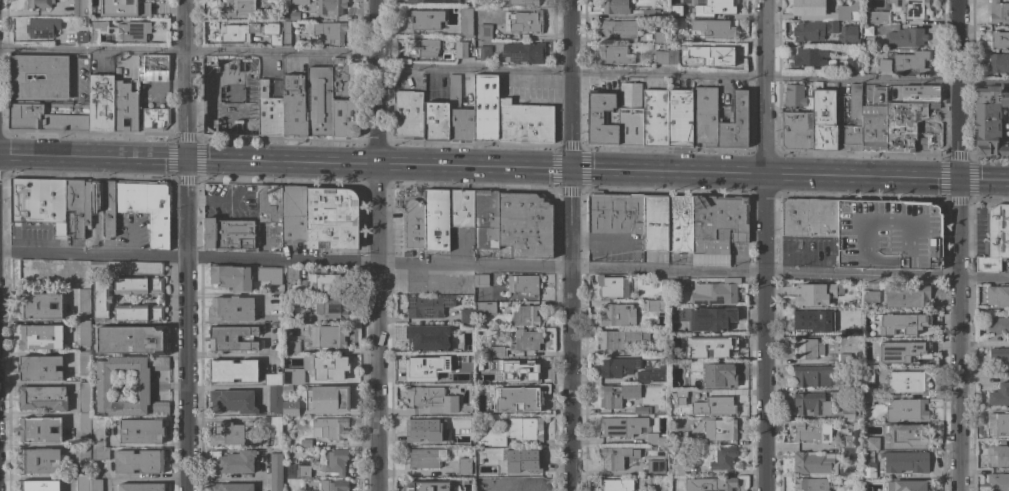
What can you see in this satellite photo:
building: (116, 1)
building: (299, 2)
building: (433, 2)
building: (518, 2)
building: (40, 3)
building: (135, 4)
building: (614, 6)
building: (719, 6)
building: (330, 7)
building: (80, 8)
building: (236, 8)
building: (910, 8)
building: (825, 10)
building: (103, 12)
building: (999, 12)
building: (652, 13)
building: (290, 14)
building: (675, 15)
building: (877, 17)
building: (423, 20)
building: (465, 21)
building: (523, 21)
building: (42, 27)
building: (622, 27)
building: (713, 28)
building: (485, 30)
building: (867, 30)
building: (97, 31)
building: (133, 31)
building: (327, 31)
building: (808, 31)
building: (234, 33)
building: (286, 33)
building: (81, 37)
building: (658, 37)
building: (906, 37)
building: (675, 39)
building: (999, 39)
building: (275, 40)
building: (830, 42)
building: (423, 47)
building: (461, 50)
building: (484, 52)
building: (523, 52)
building: (615, 54)
building: (712, 54)
building: (810, 56)
building: (660, 57)
building: (672, 57)
building: (911, 61)
building: (999, 63)
building: (153, 64)
building: (851, 64)
building: (884, 65)
road: (502, 71)
building: (56, 77)
building: (341, 77)
road: (184, 78)
road: (375, 82)
building: (601, 82)
road: (569, 85)
road: (763, 87)
road: (957, 90)
building: (918, 93)
building: (889, 94)
building: (319, 101)
building: (101, 102)
building: (126, 106)
building: (933, 106)
building: (294, 107)
building: (485, 107)
building: (269, 112)
building: (458, 113)
building: (704, 113)
building: (854, 113)
building: (630, 114)
building: (49, 115)
building: (408, 115)
building: (654, 117)
building: (678, 117)
building: (153, 118)
building: (345, 118)
building: (602, 118)
building: (797, 118)
building: (824, 118)
building: (436, 121)
building: (990, 121)
building: (524, 122)
building: (735, 123)
building: (903, 124)
building: (248, 127)
building: (872, 127)
road: (92, 155)
traffic signals: (185, 158)
road: (280, 162)
road: (424, 167)
road: (521, 170)
traffic signals: (570, 171)
road: (666, 173)
road: (860, 178)
traffic signals: (958, 181)
road: (983, 181)
building: (91, 200)
building: (40, 203)
building: (268, 203)
building: (75, 207)
building: (146, 207)
building: (108, 208)
building: (460, 208)
building: (293, 213)
building: (615, 213)
building: (809, 217)
building: (331, 218)
building: (485, 219)
building: (436, 220)
building: (414, 223)
building: (655, 223)
building: (679, 223)
building: (718, 223)
building: (525, 224)
road: (957, 229)
building: (229, 234)
building: (888, 235)
building: (995, 238)
road: (478, 265)
building: (126, 268)
building: (269, 275)
building: (231, 277)
road: (983, 278)
building: (315, 280)
building: (480, 280)
building: (523, 284)
building: (676, 284)
building: (155, 285)
building: (130, 286)
building: (613, 286)
building: (664, 286)
building: (713, 292)
building: (815, 294)
building: (870, 296)
building: (906, 296)
building: (997, 296)
building: (663, 297)
building: (100, 299)
building: (83, 301)
building: (274, 304)
building: (656, 304)
building: (39, 306)
building: (427, 306)
building: (334, 308)
building: (484, 308)
building: (230, 309)
building: (130, 313)
building: (155, 313)
building: (466, 315)
building: (617, 315)
building: (525, 316)
building: (710, 318)
building: (303, 319)
building: (808, 320)
road: (185, 324)
building: (900, 324)
building: (998, 325)
road: (376, 328)
road: (571, 330)
building: (843, 330)
road: (762, 332)
building: (84, 333)
building: (328, 336)
building: (40, 337)
building: (427, 337)
building: (231, 338)
building: (132, 339)
building: (619, 339)
building: (526, 340)
building: (684, 340)
building: (292, 348)
building: (808, 348)
building: (87, 349)
building: (644, 350)
building: (720, 350)
building: (496, 351)
building: (901, 352)
building: (999, 356)
building: (844, 359)
building: (83, 362)
building: (158, 363)
building: (417, 366)
building: (618, 366)
building: (38, 367)
building: (327, 367)
building: (529, 368)
building: (232, 371)
building: (718, 375)
building: (867, 375)
building: (289, 376)
building: (458, 377)
building: (483, 377)
building: (649, 377)
building: (820, 377)
building: (272, 379)
building: (907, 382)
road: (956, 384)
building: (103, 386)
building: (286, 389)
building: (680, 394)
building: (999, 394)
building: (616, 395)
building: (84, 397)
building: (42, 398)
building: (274, 398)
building: (430, 398)
building: (327, 399)
building: (516, 399)
building: (867, 400)
building: (232, 401)
building: (811, 404)
building: (721, 405)
building: (289, 408)
building: (465, 408)
building: (905, 409)
building: (642, 410)
building: (850, 413)
building: (479, 418)
building: (84, 424)
building: (997, 424)
building: (275, 426)
building: (621, 426)
building: (418, 427)
building: (330, 428)
building: (525, 429)
building: (719, 429)
building: (40, 430)
building: (141, 431)
building: (810, 432)
building: (97, 434)
building: (227, 434)
building: (459, 435)
building: (905, 435)
building: (490, 439)
building: (655, 439)
building: (677, 439)
building: (849, 441)
building: (305, 443)
building: (871, 443)
building: (999, 452)
building: (99, 454)
building: (848, 454)
building: (84, 455)
building: (616, 456)
building: (424, 457)
building: (529, 460)
building: (723, 460)
building: (39, 461)
building: (139, 461)
building: (334, 461)
building: (232, 462)
building: (905, 462)
building: (811, 463)
building: (275, 465)
building: (463, 466)
building: (655, 466)
building: (678, 468)
building: (297, 469)
building: (868, 470)
building: (482, 471)
building: (858, 479)
building: (998, 481)
building: (81, 483)
building: (276, 484)
building: (531, 484)
building: (709, 484)
building: (814, 484)
building: (38, 485)
building: (96, 485)
building: (333, 485)
building: (418, 485)
building: (505, 485)
building: (616, 485)
building: (912, 485)
building: (141, 487)
building: (231, 487)

